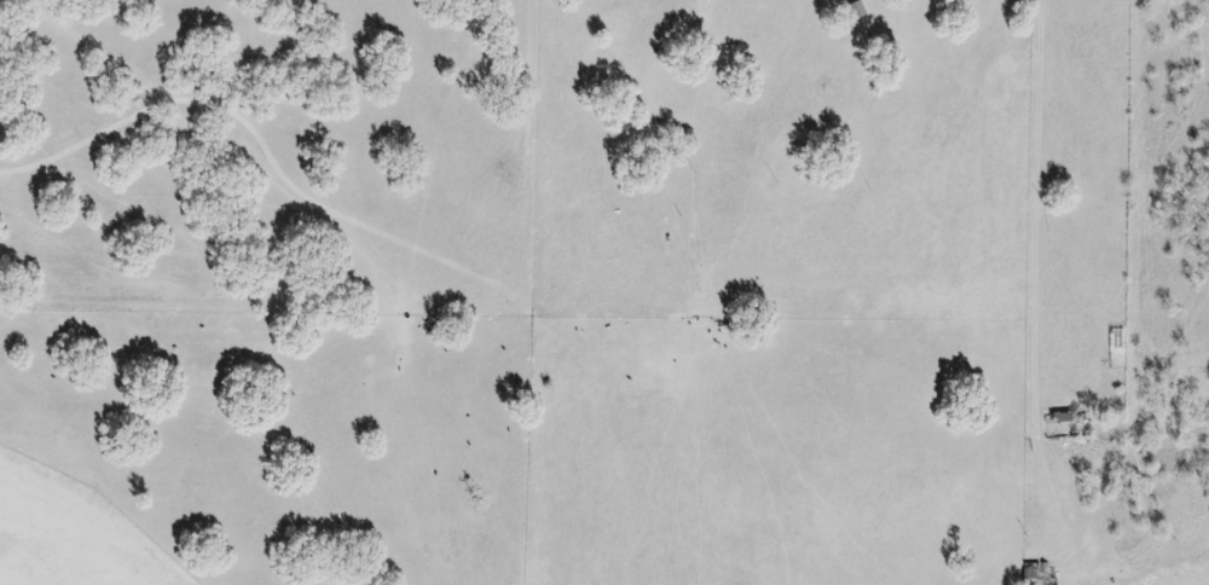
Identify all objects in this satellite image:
building: (855, 13)
building: (1064, 431)

